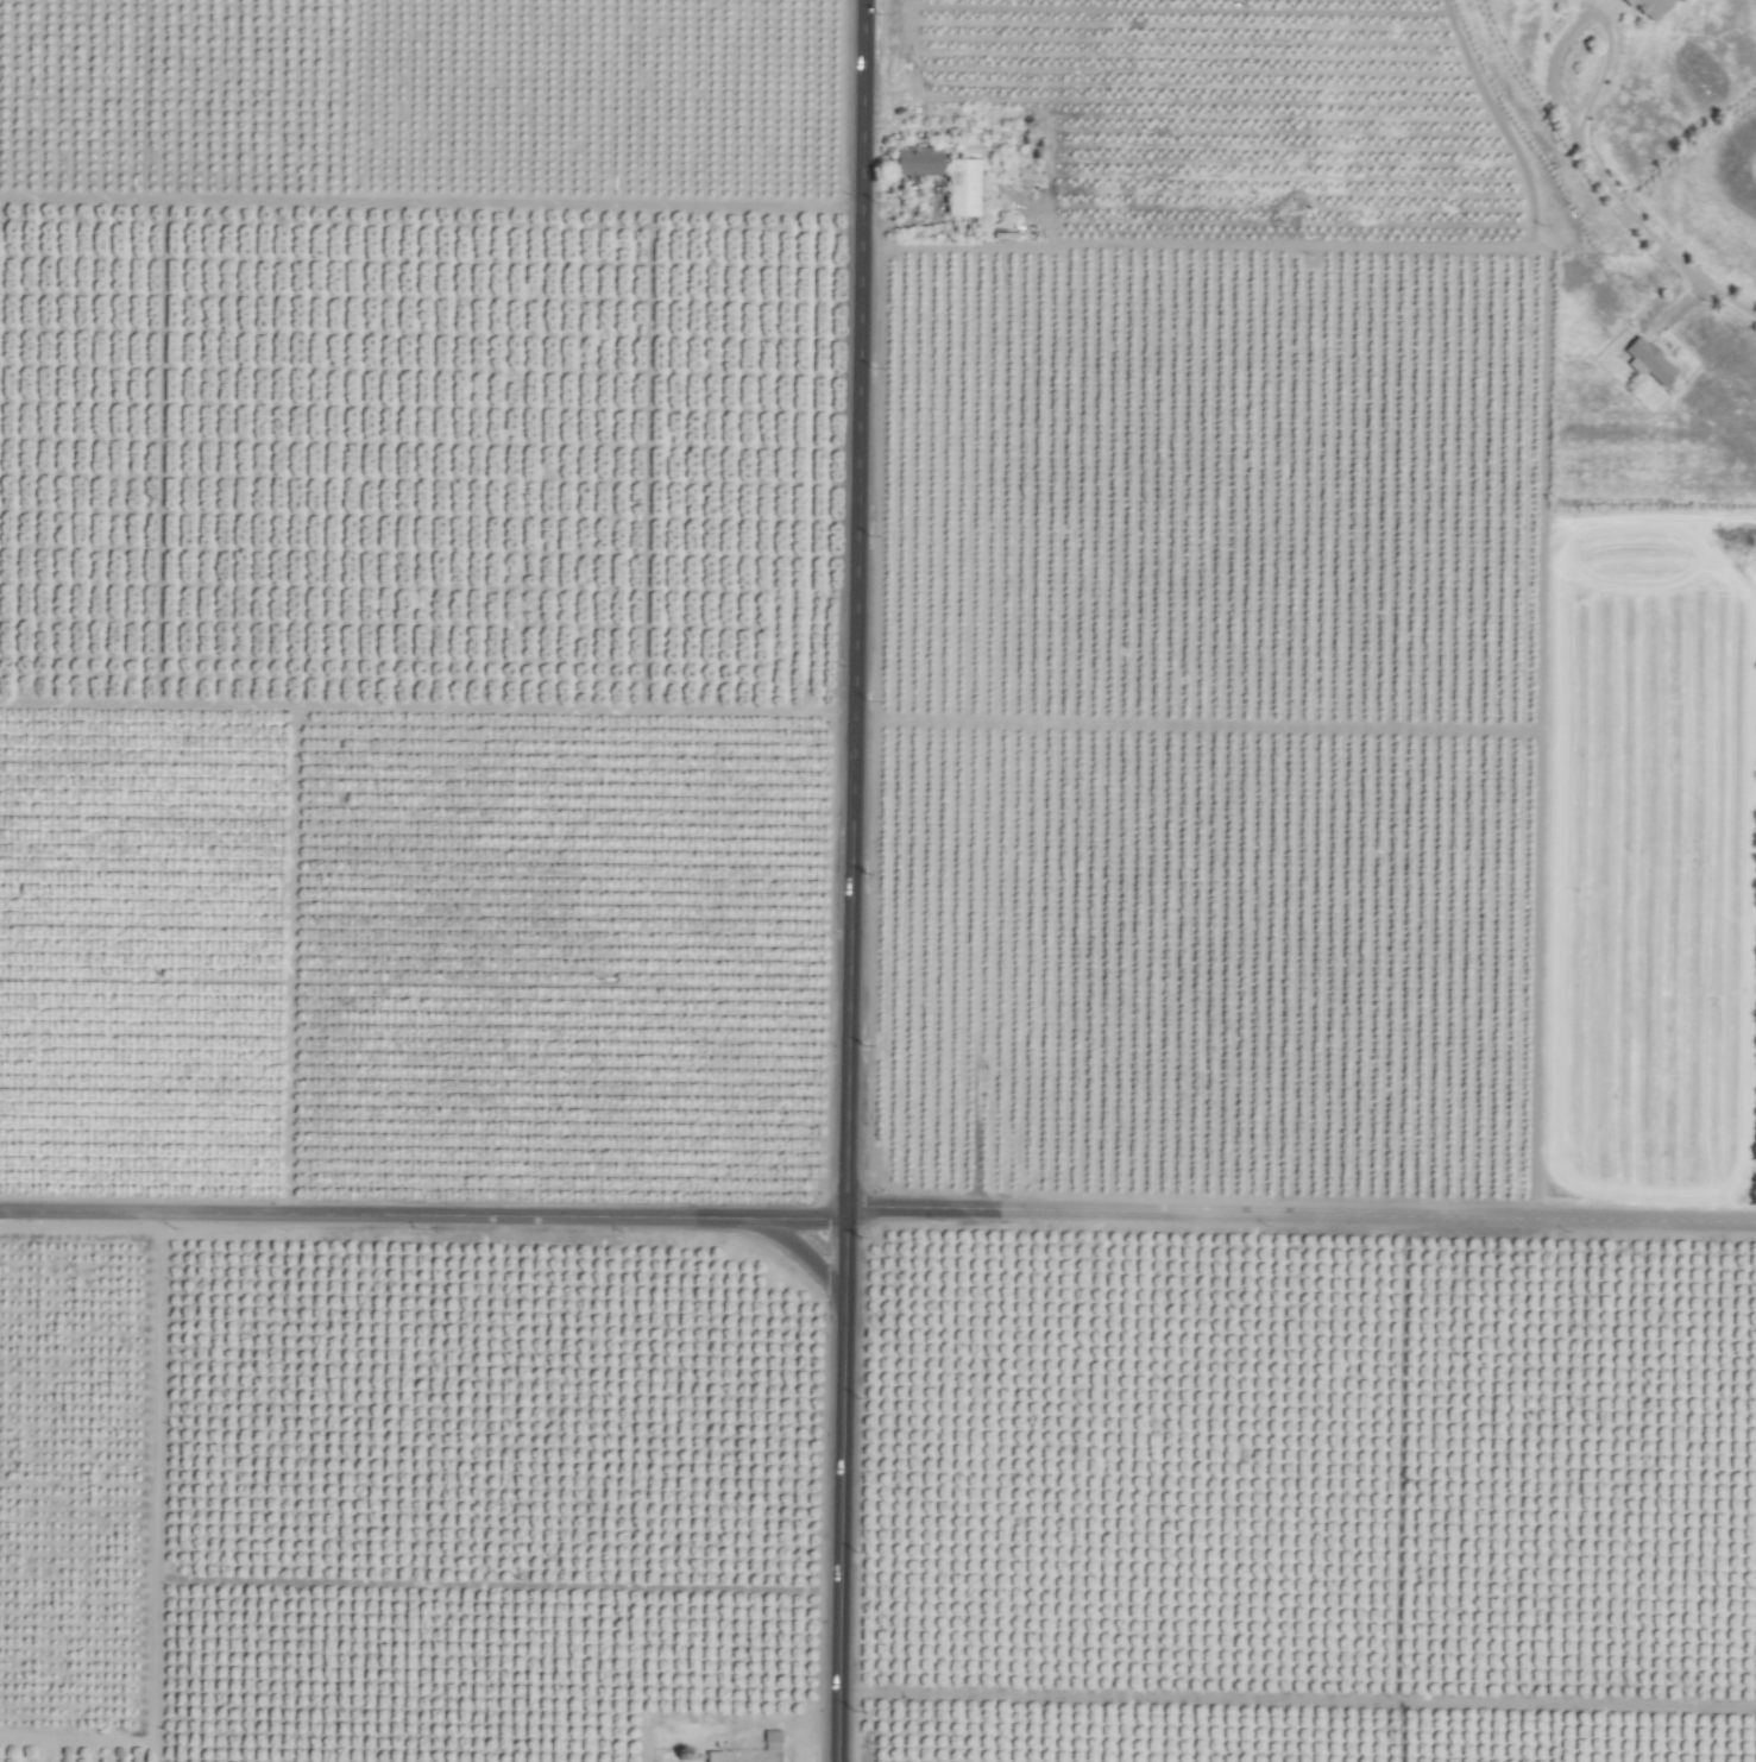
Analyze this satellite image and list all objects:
building: (1651, 7)
road: (1590, 19)
building: (920, 162)
building: (964, 187)
road: (1656, 243)
building: (1650, 360)
road: (850, 606)
crop: (845, 907)
road: (877, 1214)
road: (797, 1248)
road: (836, 1487)
building: (773, 1737)
building: (716, 1757)

